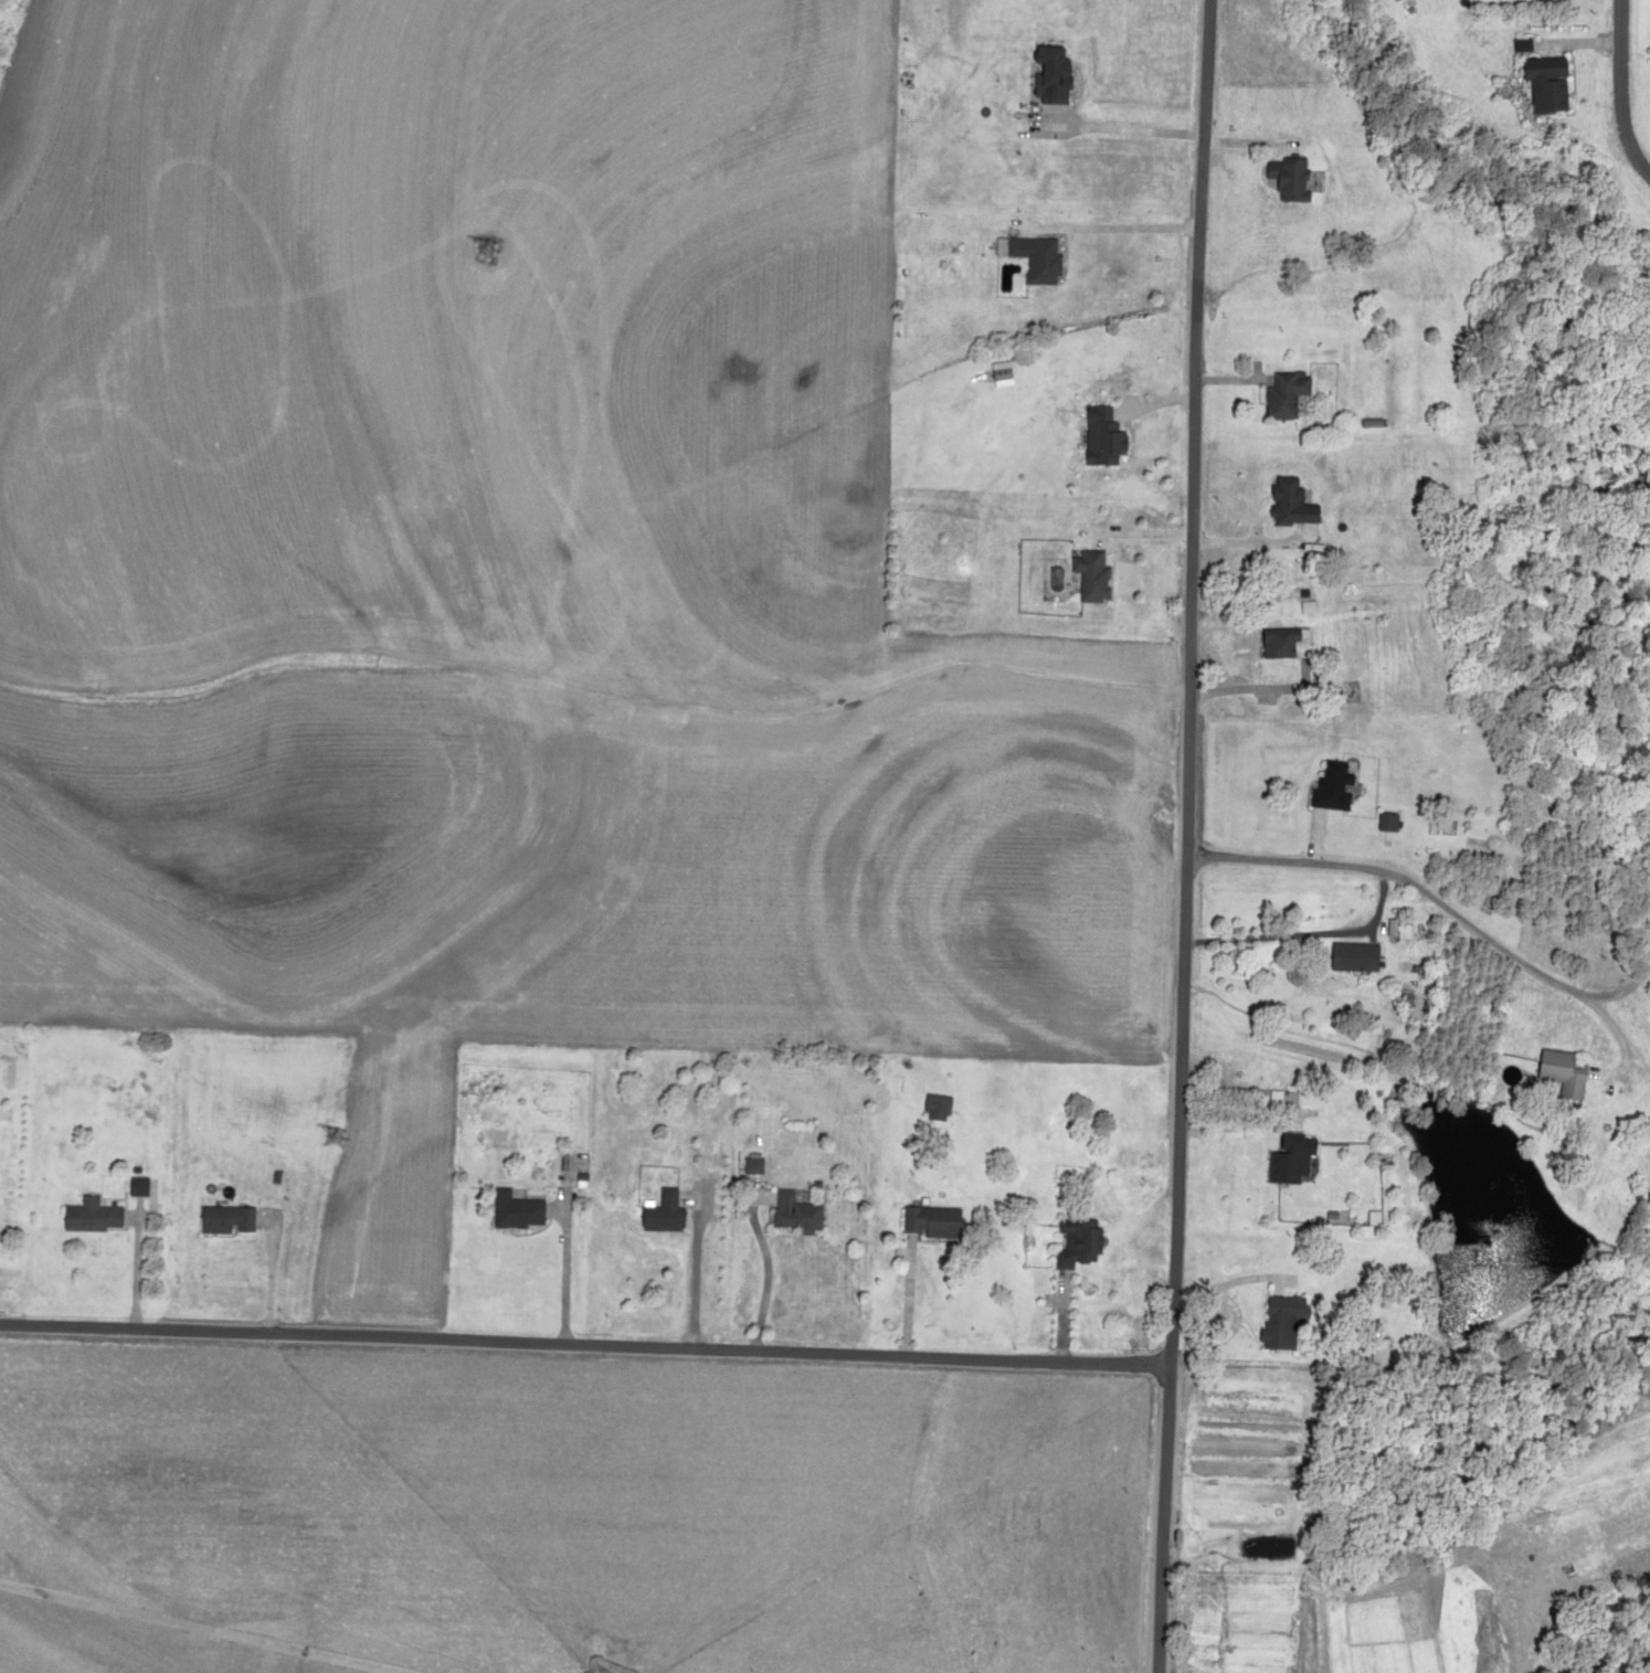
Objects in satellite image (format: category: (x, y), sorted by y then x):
building: (1535, 3)
building: (1047, 75)
building: (1537, 84)
building: (1286, 178)
building: (1037, 257)
building: (1287, 394)
building: (1100, 436)
building: (1289, 502)
building: (1088, 574)
building: (1280, 643)
building: (1329, 785)
building: (1382, 822)
road: (1194, 836)
road: (1345, 939)
building: (1347, 955)
building: (1555, 1070)
building: (934, 1105)
building: (1283, 1158)
building: (749, 1164)
building: (134, 1187)
building: (514, 1210)
building: (660, 1213)
building: (792, 1213)
building: (88, 1216)
building: (223, 1219)
building: (929, 1221)
building: (1075, 1246)
building: (1271, 1321)
road: (1365, 1326)
power tower: (281, 1349)
road: (586, 1363)

